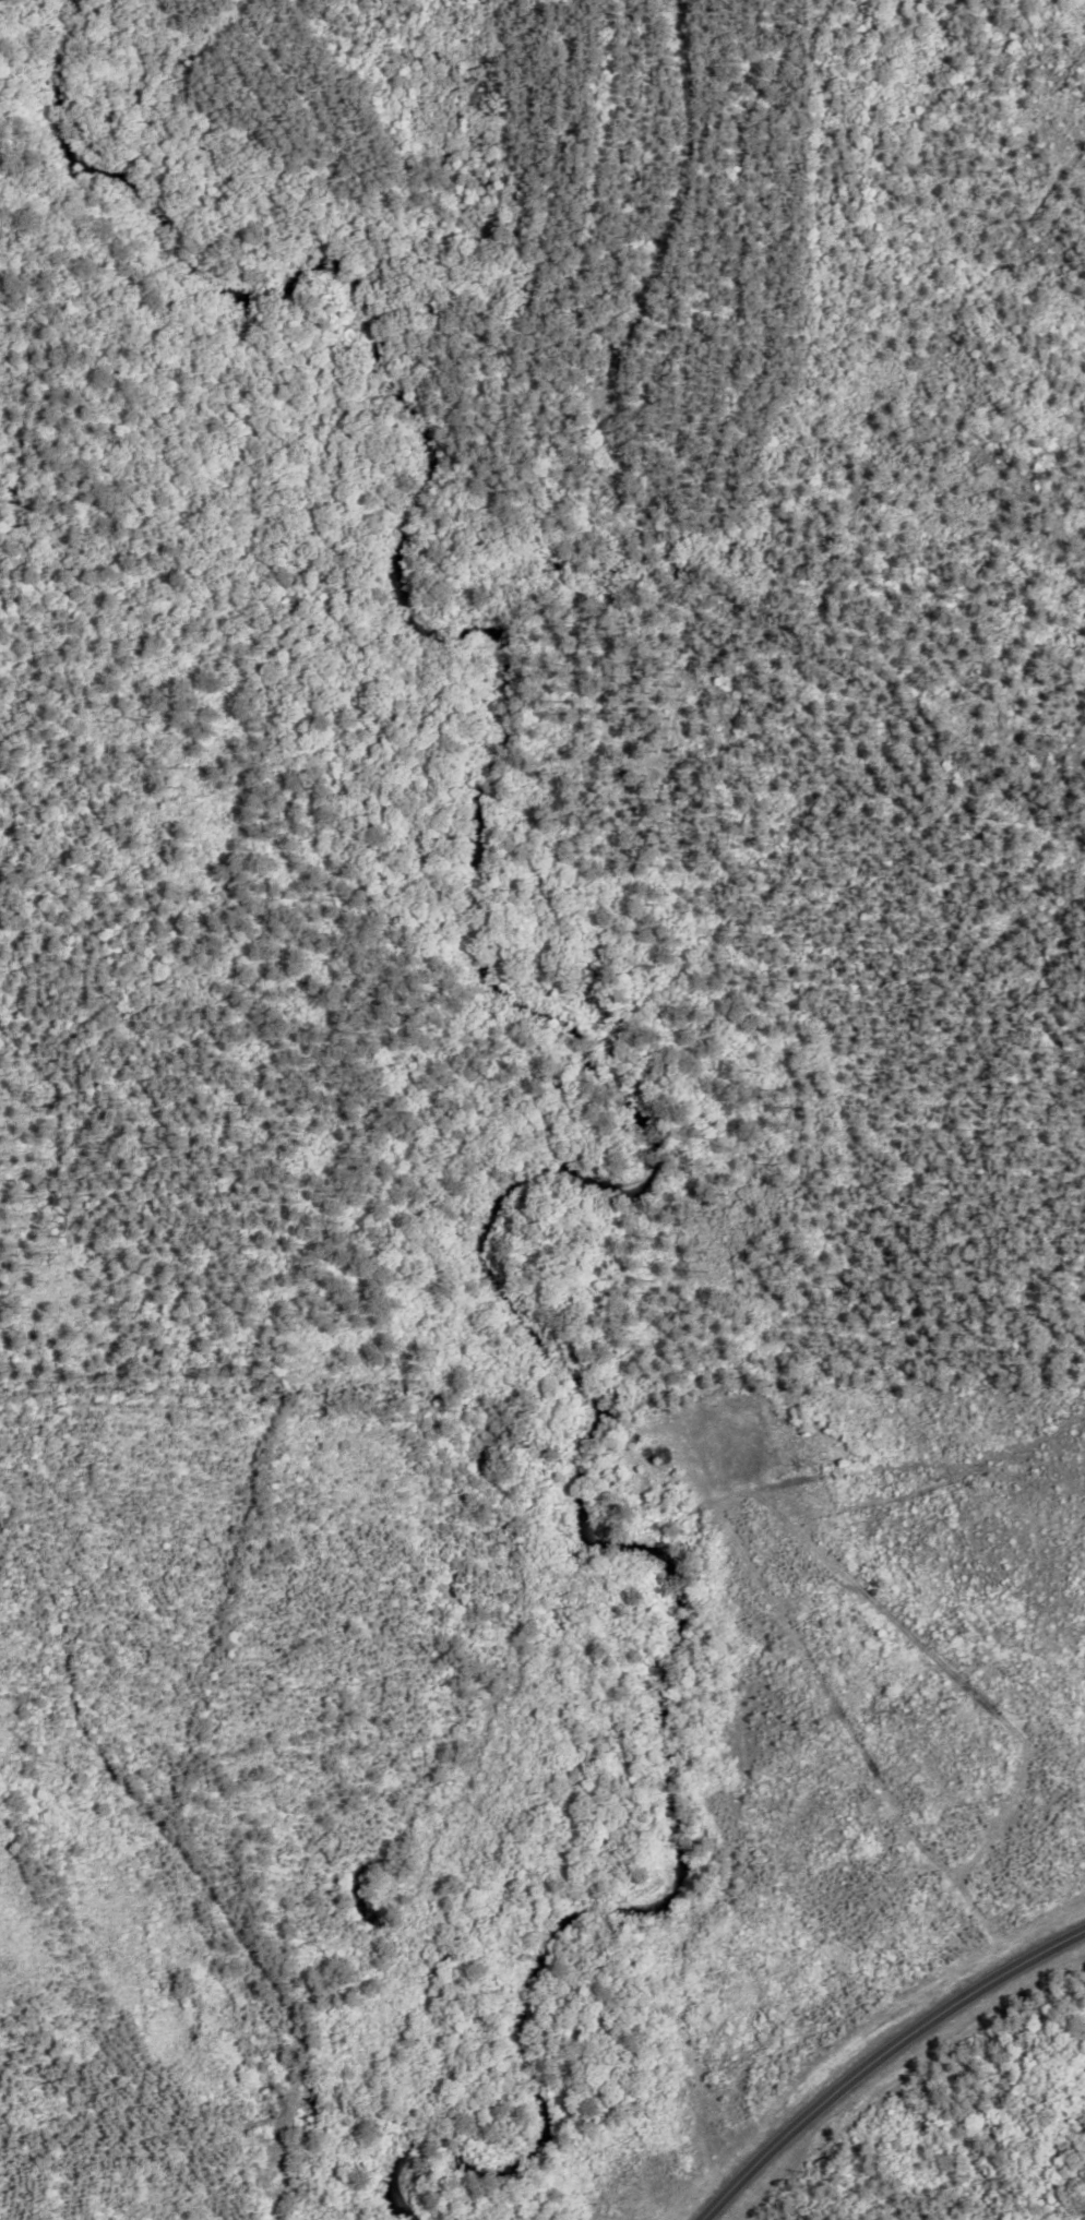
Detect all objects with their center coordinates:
road: (880, 2058)

